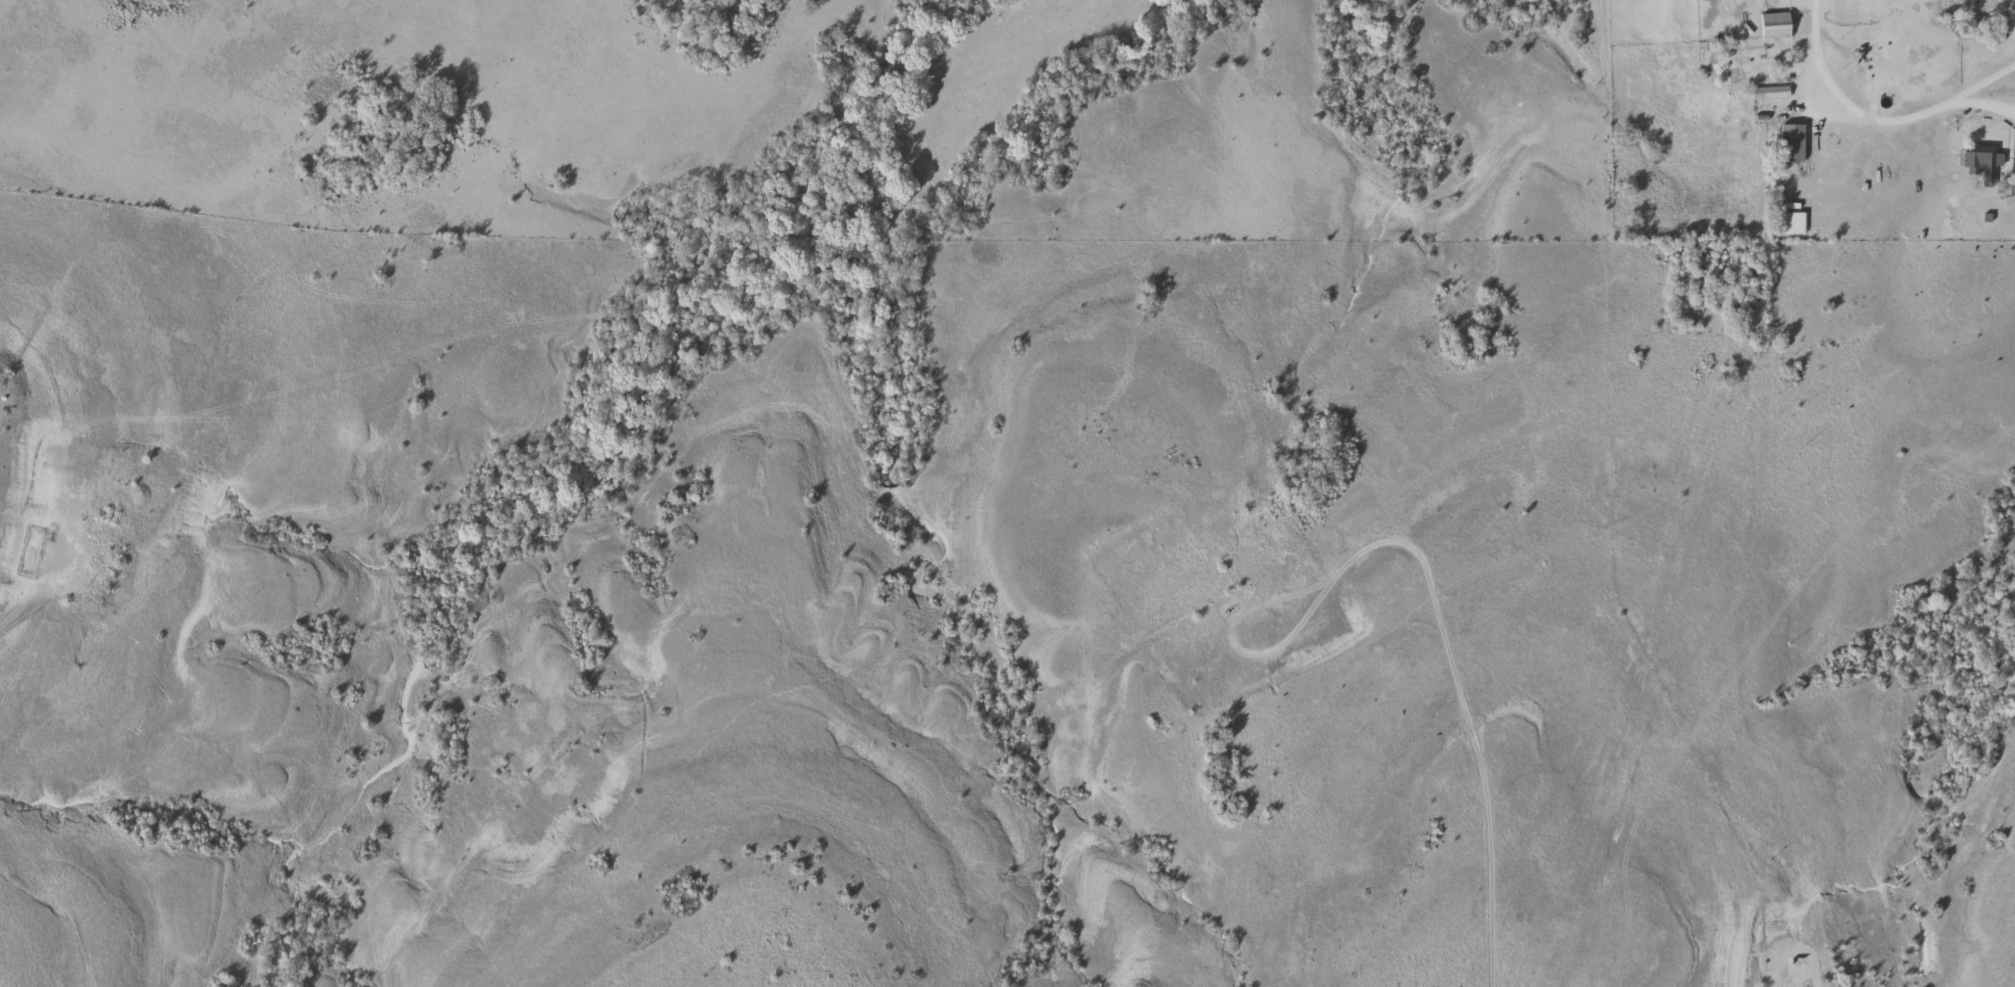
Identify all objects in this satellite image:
building: (1772, 26)
building: (1769, 95)
road: (1987, 111)
road: (1873, 124)
building: (1789, 144)
building: (1979, 163)
building: (1792, 225)

